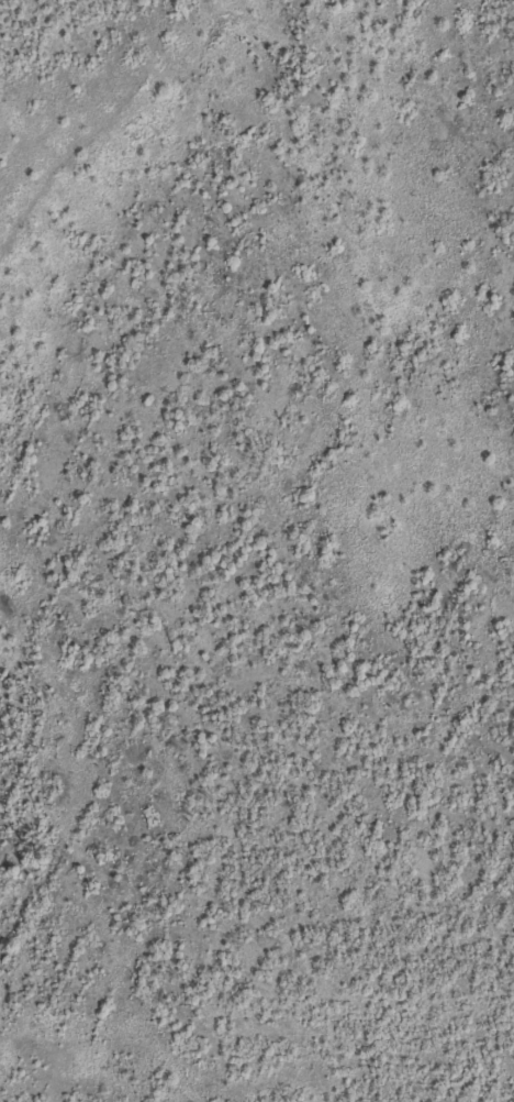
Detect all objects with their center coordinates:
road: (94, 115)

